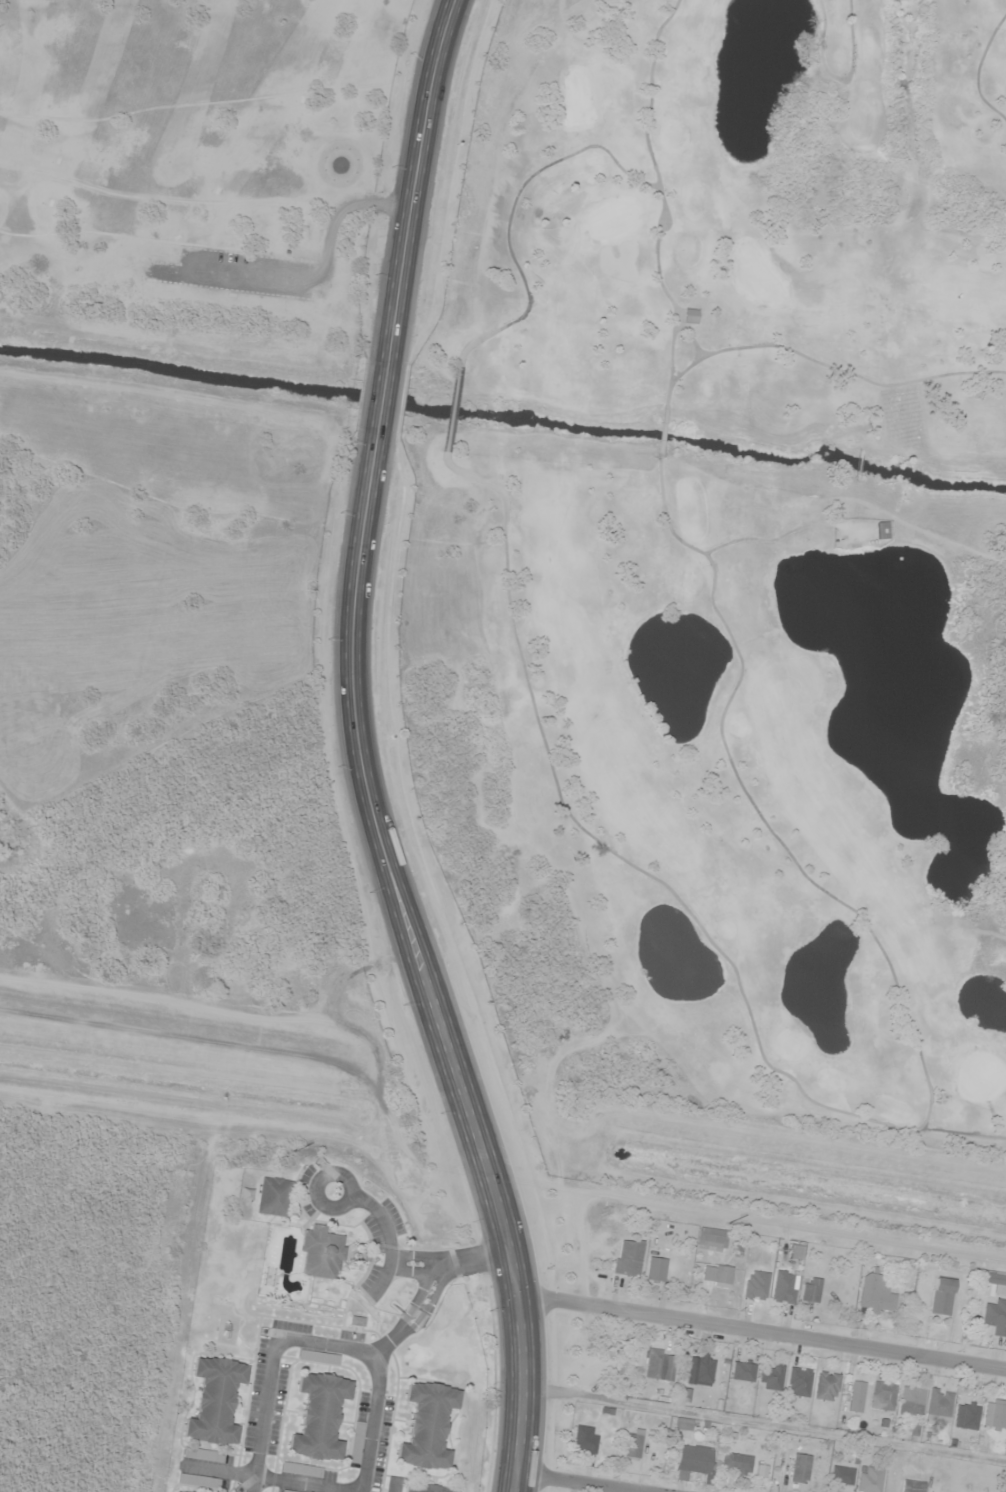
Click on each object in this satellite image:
park: (199, 175)
road: (417, 179)
parking lot: (237, 273)
road: (314, 279)
building: (689, 316)
road: (384, 397)
building: (880, 531)
park: (746, 539)
road: (423, 957)
road: (346, 1196)
building: (273, 1197)
road: (385, 1238)
building: (711, 1240)
building: (794, 1251)
building: (319, 1254)
building: (627, 1258)
road: (446, 1262)
building: (655, 1269)
building: (716, 1274)
building: (994, 1281)
building: (755, 1285)
building: (783, 1287)
building: (809, 1290)
building: (874, 1295)
building: (940, 1297)
building: (995, 1317)
road: (410, 1318)
road: (762, 1332)
road: (315, 1342)
building: (318, 1358)
building: (658, 1365)
building: (699, 1371)
building: (742, 1372)
building: (770, 1377)
building: (798, 1382)
building: (825, 1387)
building: (882, 1396)
building: (855, 1397)
building: (214, 1401)
building: (910, 1401)
building: (938, 1404)
building: (994, 1414)
building: (965, 1415)
building: (319, 1417)
building: (683, 1424)
building: (427, 1426)
building: (585, 1440)
building: (356, 1442)
building: (632, 1445)
building: (692, 1462)
building: (736, 1464)
building: (799, 1469)
building: (840, 1475)
road: (266, 1478)
building: (869, 1479)
building: (392, 1484)
road: (518, 1485)
road: (563, 1485)
building: (911, 1486)
building: (427, 1488)
building: (175, 1491)

